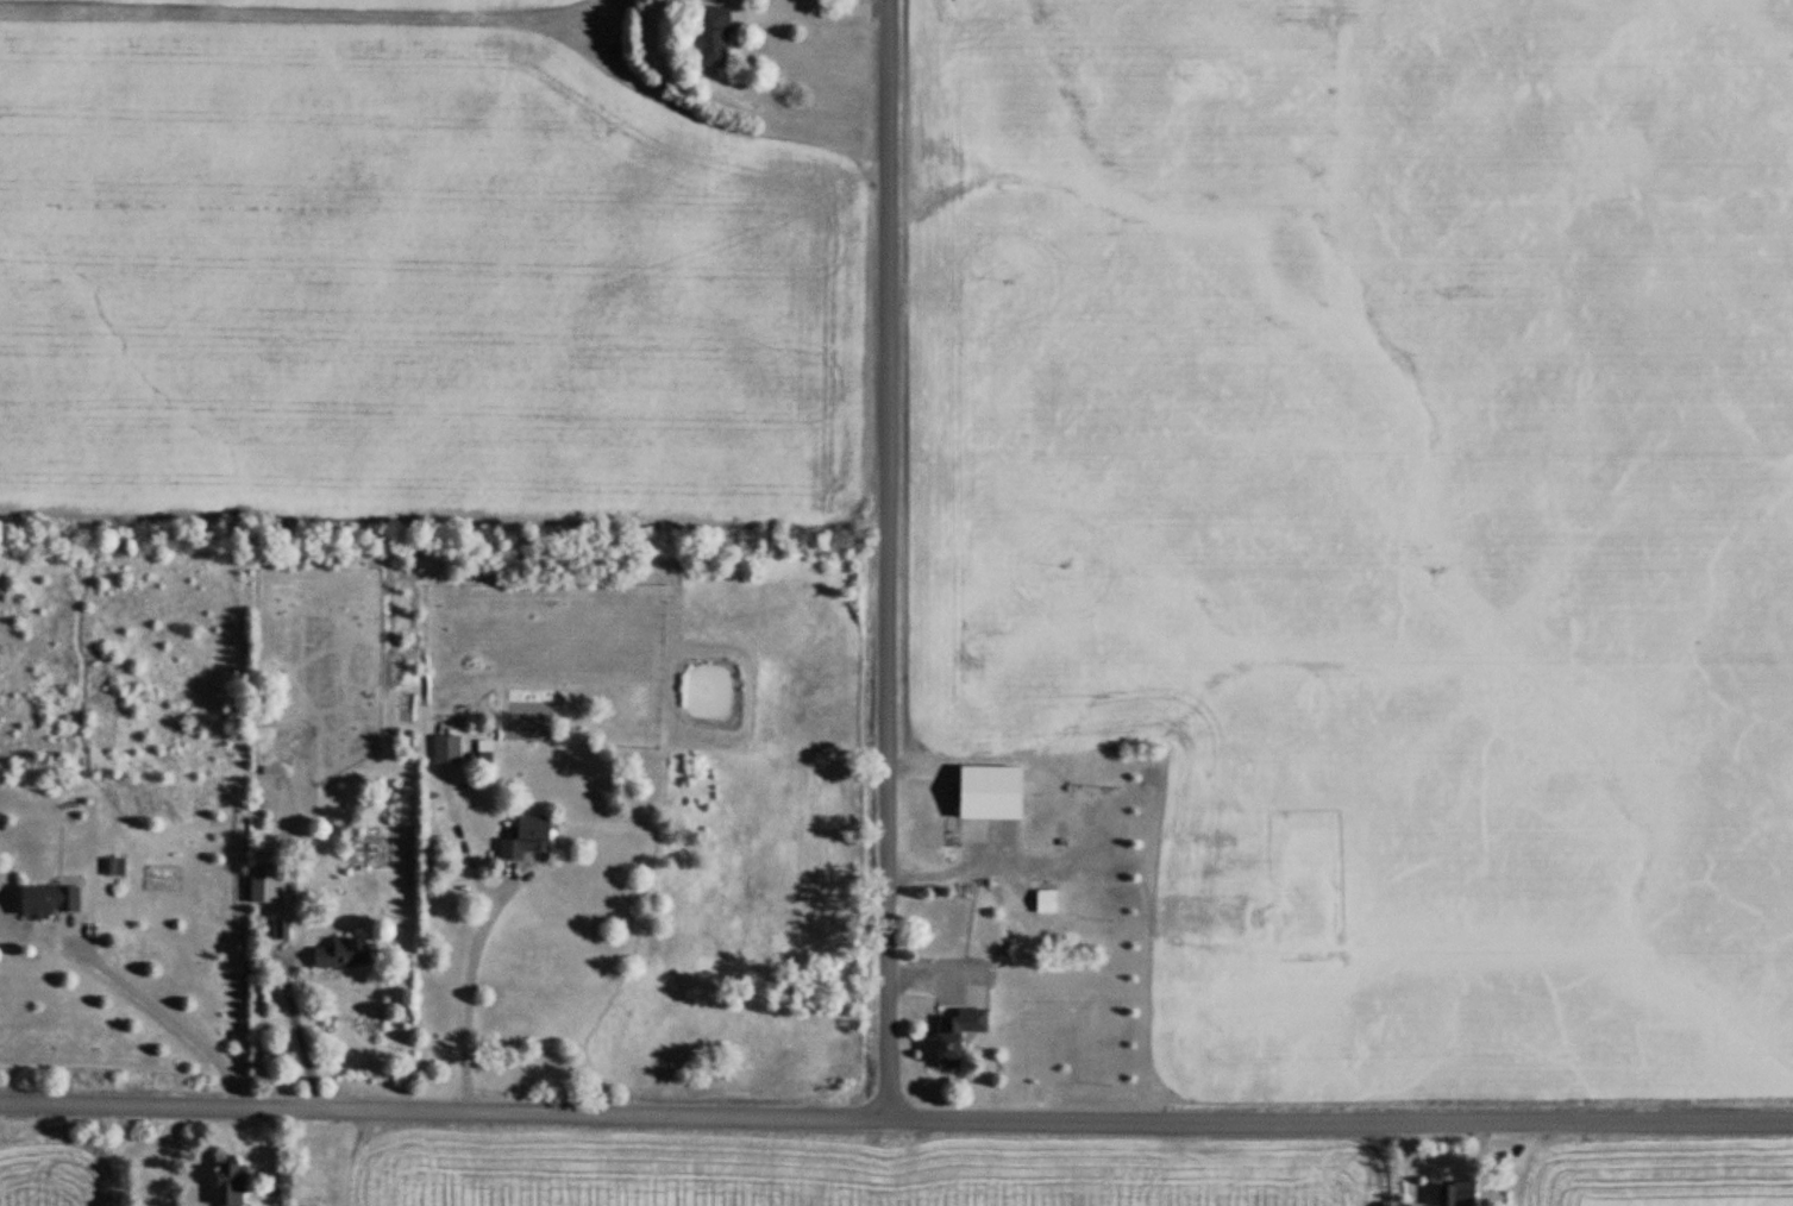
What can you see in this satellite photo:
building: (709, 37)
road: (882, 557)
building: (446, 750)
building: (992, 794)
building: (1178, 835)
building: (527, 840)
building: (267, 886)
building: (49, 902)
building: (1059, 903)
building: (1185, 919)
building: (343, 953)
road: (471, 998)
road: (171, 1015)
road: (295, 1031)
building: (957, 1035)
road: (896, 1113)
road: (275, 1156)
building: (230, 1185)
building: (1457, 1194)

